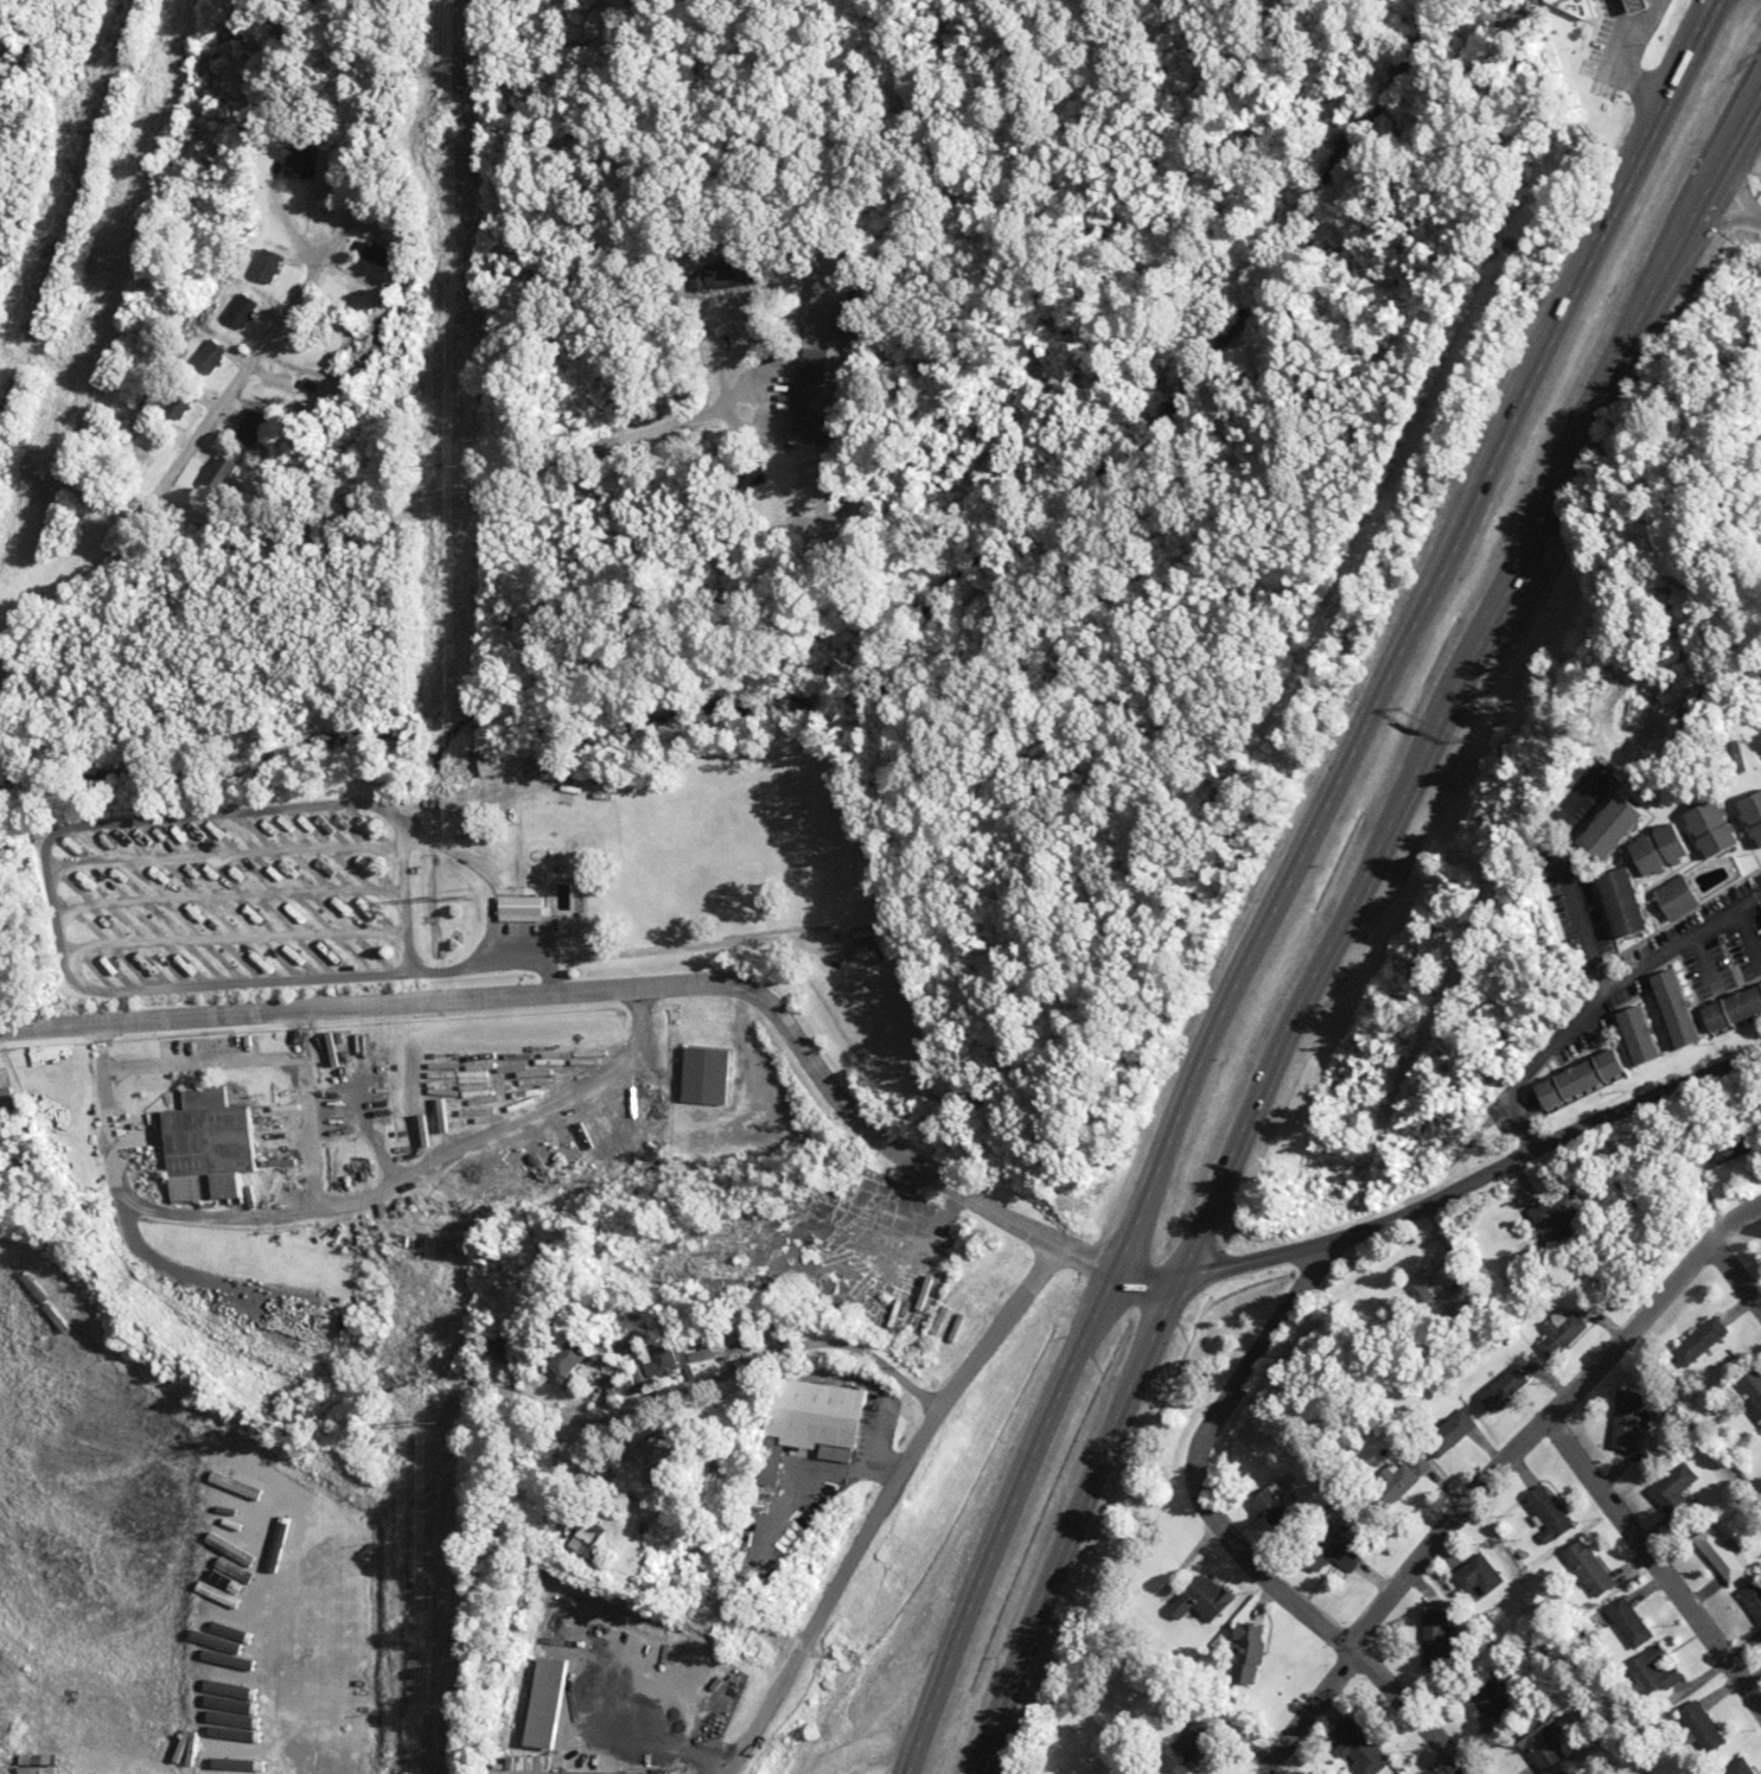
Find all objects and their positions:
power tower: (462, 69)
building: (270, 268)
building: (245, 308)
building: (213, 357)
building: (180, 403)
building: (253, 428)
road: (184, 459)
building: (221, 473)
building: (1729, 759)
building: (510, 764)
building: (1749, 817)
building: (1704, 829)
building: (1603, 830)
building: (1652, 850)
road: (1291, 876)
road: (1563, 876)
power tower: (465, 899)
building: (1670, 900)
building: (1613, 905)
building: (527, 910)
road: (1346, 923)
road: (607, 991)
road: (1599, 998)
building: (1729, 1008)
building: (1669, 1009)
building: (1632, 1035)
building: (706, 1076)
building: (1582, 1078)
building: (8, 1099)
building: (619, 1130)
building: (212, 1147)
building: (1736, 1149)
road: (1442, 1194)
road: (1734, 1218)
building: (1565, 1221)
road: (1735, 1270)
building: (1455, 1289)
building: (1564, 1332)
building: (1706, 1341)
road: (778, 1349)
building: (582, 1360)
building: (676, 1363)
building: (1510, 1387)
building: (1753, 1391)
building: (1635, 1419)
building: (817, 1424)
building: (1456, 1434)
road: (1527, 1440)
building: (1399, 1485)
building: (1677, 1497)
road: (875, 1508)
building: (1284, 1511)
building: (1553, 1512)
building: (599, 1536)
road: (1224, 1536)
building: (1348, 1550)
building: (1722, 1557)
road: (1654, 1566)
building: (1594, 1569)
building: (1481, 1577)
building: (353, 1578)
building: (1753, 1598)
building: (1207, 1600)
building: (1632, 1622)
building: (1442, 1638)
building: (1248, 1652)
building: (1660, 1673)
building: (1494, 1702)
road: (1304, 1710)
building: (1705, 1728)
building: (228, 1743)
building: (1546, 1751)
building: (1366, 1755)
building: (1743, 1765)
building: (529, 1767)
building: (1568, 1772)

